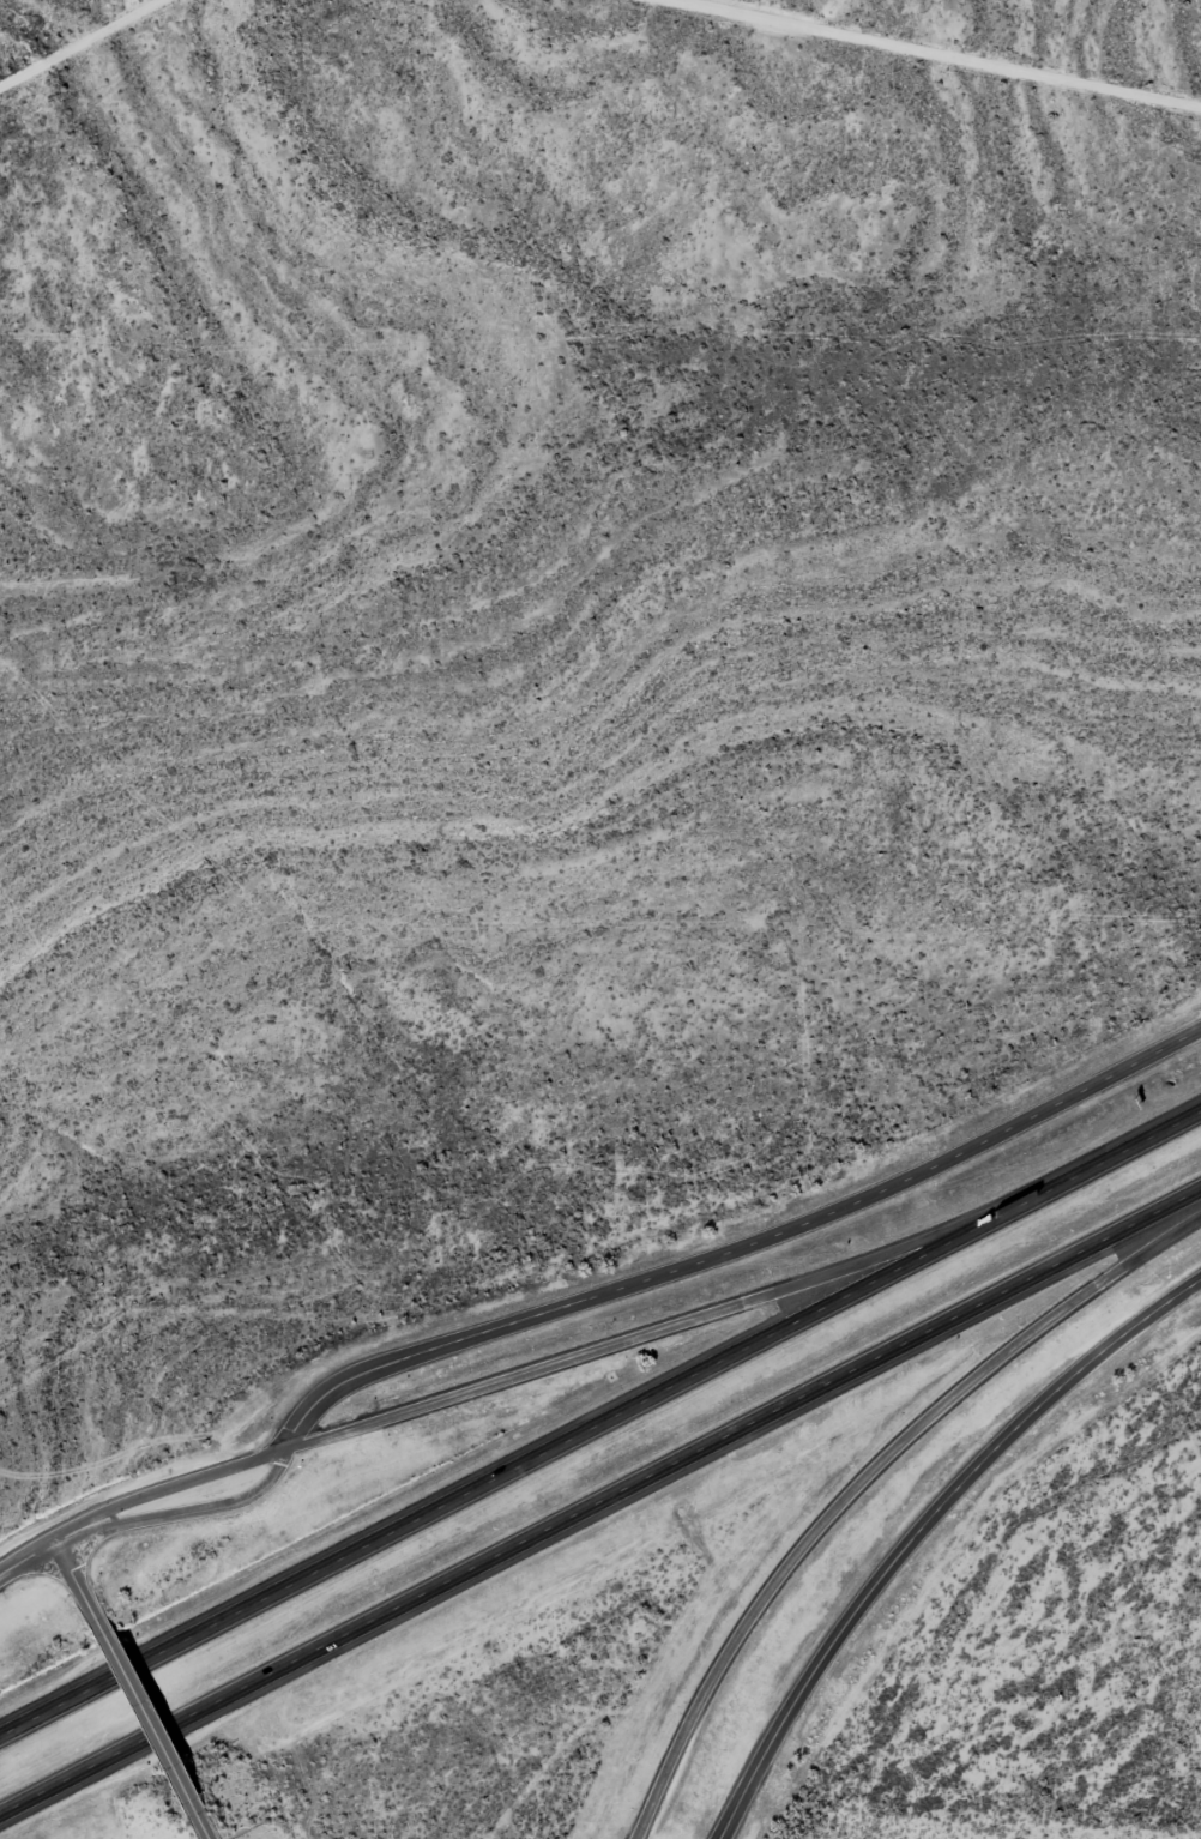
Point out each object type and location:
road: (1175, 30)
road: (742, 1248)
road: (650, 1332)
road: (602, 1422)
road: (186, 1479)
road: (873, 1487)
road: (203, 1508)
road: (600, 1509)
road: (924, 1525)
road: (43, 1545)
road: (76, 1585)
road: (146, 1724)
road: (200, 1828)

